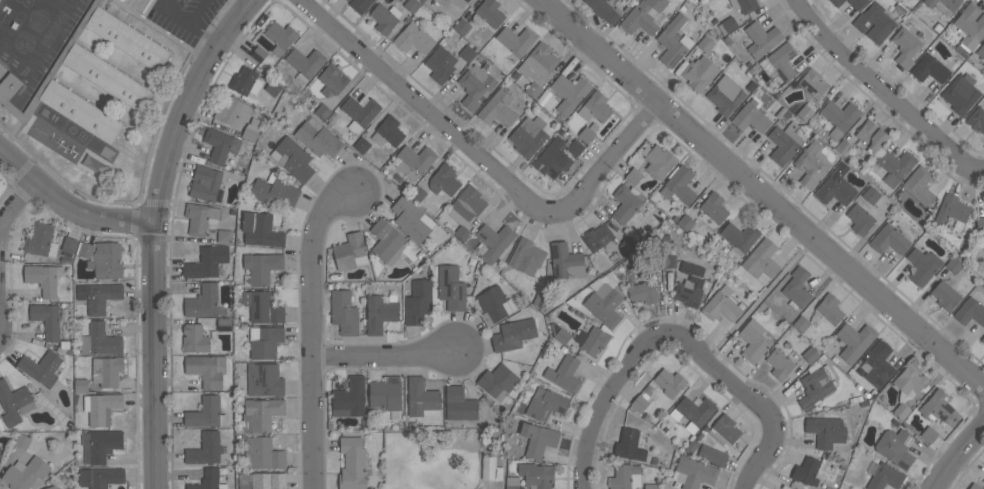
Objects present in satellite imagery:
park: (83, 1)
building: (125, 1)
building: (837, 2)
road: (247, 3)
building: (460, 3)
building: (857, 3)
building: (360, 5)
building: (412, 5)
building: (745, 5)
building: (943, 5)
building: (604, 10)
building: (488, 13)
building: (643, 16)
parking lot: (183, 17)
building: (383, 19)
building: (874, 23)
building: (728, 25)
building: (970, 25)
road: (192, 26)
building: (461, 26)
building: (280, 37)
building: (126, 38)
building: (413, 39)
building: (761, 39)
building: (516, 40)
building: (673, 42)
building: (705, 44)
building: (905, 46)
building: (981, 51)
building: (467, 53)
building: (258, 54)
building: (783, 61)
building: (538, 62)
building: (305, 63)
building: (440, 64)
building: (2, 69)
building: (929, 69)
building: (699, 73)
building: (106, 76)
building: (332, 80)
building: (245, 81)
building: (813, 83)
building: (475, 85)
building: (8, 87)
building: (273, 88)
building: (533, 90)
building: (570, 92)
road: (882, 92)
building: (960, 94)
building: (725, 95)
building: (595, 107)
building: (498, 109)
building: (80, 111)
building: (322, 111)
building: (233, 112)
building: (359, 113)
building: (805, 113)
building: (751, 117)
building: (839, 117)
building: (976, 119)
building: (388, 131)
building: (250, 132)
building: (588, 132)
park: (81, 136)
building: (529, 136)
building: (871, 136)
building: (318, 140)
building: (784, 142)
building: (220, 145)
building: (361, 145)
building: (843, 147)
building: (575, 148)
building: (553, 158)
building: (293, 159)
road: (483, 159)
building: (658, 160)
building: (415, 161)
building: (812, 162)
building: (895, 165)
building: (634, 176)
building: (444, 180)
building: (205, 183)
building: (678, 185)
building: (919, 185)
building: (836, 186)
building: (275, 190)
building: (417, 193)
road: (763, 194)
building: (870, 195)
road: (70, 203)
building: (625, 203)
road: (15, 204)
building: (467, 205)
building: (714, 207)
building: (952, 211)
building: (201, 218)
building: (860, 219)
building: (412, 220)
building: (686, 222)
building: (980, 225)
building: (261, 230)
road: (156, 231)
building: (461, 233)
building: (224, 236)
building: (597, 237)
building: (890, 238)
building: (739, 239)
building: (40, 240)
building: (387, 241)
building: (493, 241)
building: (68, 246)
building: (628, 246)
building: (85, 249)
building: (350, 252)
building: (526, 257)
building: (761, 260)
building: (106, 261)
building: (565, 261)
building: (206, 262)
building: (954, 264)
building: (922, 265)
building: (261, 267)
building: (44, 278)
building: (689, 286)
building: (451, 288)
building: (797, 288)
building: (643, 292)
building: (945, 295)
building: (98, 296)
building: (204, 302)
building: (418, 302)
building: (605, 304)
building: (494, 305)
building: (721, 305)
building: (262, 307)
building: (829, 309)
building: (381, 312)
building: (970, 312)
building: (344, 313)
building: (47, 320)
building: (801, 323)
building: (224, 324)
road: (314, 331)
building: (559, 333)
building: (513, 335)
road: (681, 336)
building: (195, 338)
building: (982, 339)
building: (100, 340)
building: (592, 340)
building: (264, 341)
building: (753, 341)
building: (855, 341)
road: (382, 355)
building: (810, 355)
building: (877, 363)
building: (780, 364)
building: (41, 368)
building: (206, 370)
building: (106, 371)
building: (564, 374)
building: (264, 379)
building: (497, 381)
building: (670, 382)
building: (909, 382)
building: (816, 385)
building: (386, 395)
building: (349, 399)
building: (422, 399)
building: (14, 403)
building: (639, 403)
building: (459, 404)
building: (545, 404)
building: (936, 406)
building: (100, 408)
building: (901, 411)
building: (693, 412)
building: (206, 413)
building: (261, 414)
building: (724, 430)
building: (826, 431)
building: (928, 434)
building: (537, 439)
building: (22, 441)
building: (100, 444)
building: (629, 445)
building: (896, 447)
building: (207, 449)
building: (263, 453)
building: (0, 454)
building: (712, 455)
road: (960, 456)
building: (352, 463)
building: (488, 470)
building: (806, 471)
building: (693, 472)
building: (25, 473)
building: (536, 475)
building: (100, 477)
building: (625, 477)
building: (885, 477)
building: (209, 480)
building: (262, 481)
building: (512, 482)
building: (650, 486)
building: (975, 486)
building: (51, 487)
building: (828, 487)

